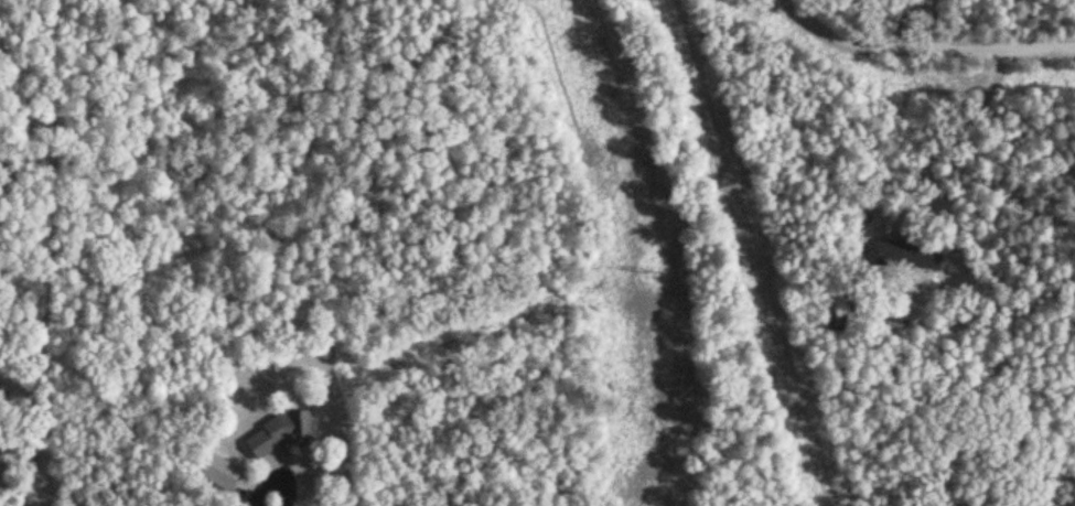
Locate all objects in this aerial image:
road: (911, 24)
road: (924, 50)
road: (26, 163)
building: (905, 254)
building: (277, 432)
building: (218, 471)

